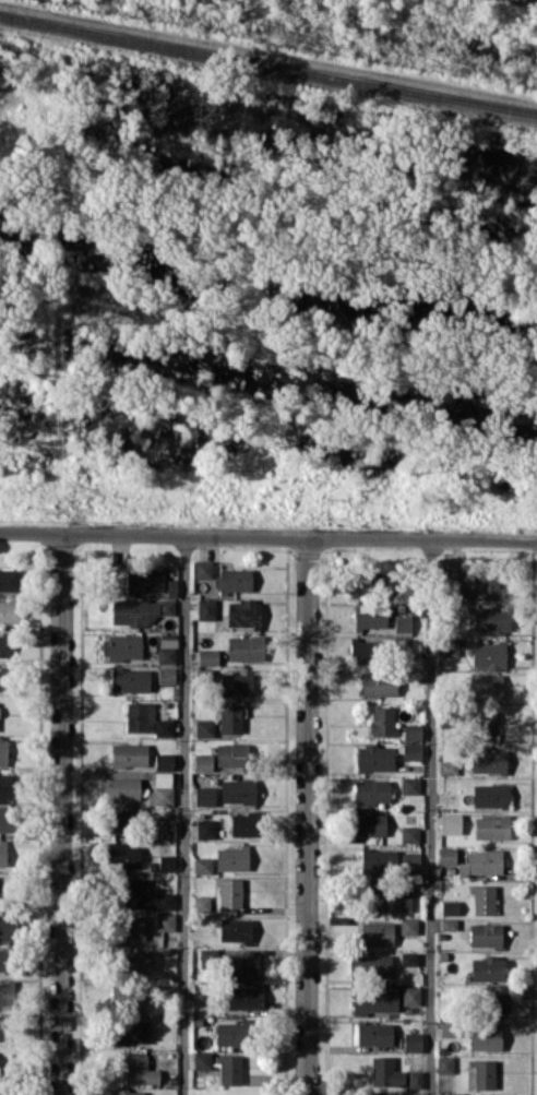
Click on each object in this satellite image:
railway: (268, 61)
road: (267, 537)
building: (202, 569)
building: (144, 579)
building: (8, 580)
building: (234, 580)
building: (452, 581)
building: (361, 584)
building: (488, 588)
building: (205, 609)
building: (140, 610)
building: (9, 611)
building: (243, 611)
building: (370, 616)
building: (491, 619)
building: (403, 623)
building: (403, 644)
building: (4, 645)
building: (121, 646)
building: (449, 646)
building: (166, 647)
building: (246, 647)
building: (363, 651)
building: (489, 654)
building: (207, 656)
building: (166, 675)
building: (2, 679)
building: (131, 679)
building: (236, 683)
building: (379, 683)
building: (486, 688)
building: (140, 716)
building: (230, 718)
building: (382, 721)
building: (482, 724)
building: (164, 727)
building: (204, 727)
building: (411, 731)
building: (3, 749)
building: (411, 750)
building: (129, 754)
building: (231, 754)
building: (375, 757)
building: (163, 761)
building: (488, 761)
building: (202, 762)
building: (448, 767)
building: (409, 785)
building: (5, 786)
building: (162, 787)
building: (121, 788)
building: (238, 790)
building: (371, 792)
building: (204, 795)
building: (490, 795)
road: (61, 813)
road: (187, 814)
road: (308, 817)
road: (431, 817)
building: (5, 819)
building: (450, 823)
building: (117, 824)
building: (244, 824)
building: (369, 824)
building: (165, 828)
building: (491, 828)
building: (205, 829)
building: (410, 833)
building: (2, 854)
building: (123, 855)
building: (446, 855)
building: (231, 858)
building: (378, 860)
building: (481, 862)
building: (163, 864)
building: (409, 864)
building: (203, 865)
building: (229, 892)
building: (145, 895)
building: (391, 896)
building: (482, 900)
building: (450, 906)
building: (165, 921)
building: (449, 924)
building: (408, 926)
building: (130, 927)
building: (8, 928)
building: (235, 929)
building: (377, 932)
building: (485, 935)
building: (409, 957)
building: (4, 960)
building: (133, 962)
building: (242, 965)
building: (370, 965)
building: (487, 968)
building: (7, 992)
building: (128, 995)
building: (411, 995)
building: (244, 997)
building: (374, 1000)
building: (494, 1001)
building: (2, 1027)
building: (129, 1032)
building: (374, 1033)
building: (230, 1034)
building: (485, 1036)
building: (413, 1042)
building: (202, 1059)
building: (444, 1063)
building: (140, 1070)
building: (229, 1070)
building: (385, 1072)
building: (480, 1074)
building: (415, 1079)
building: (127, 1092)
building: (413, 1093)
building: (452, 1093)

